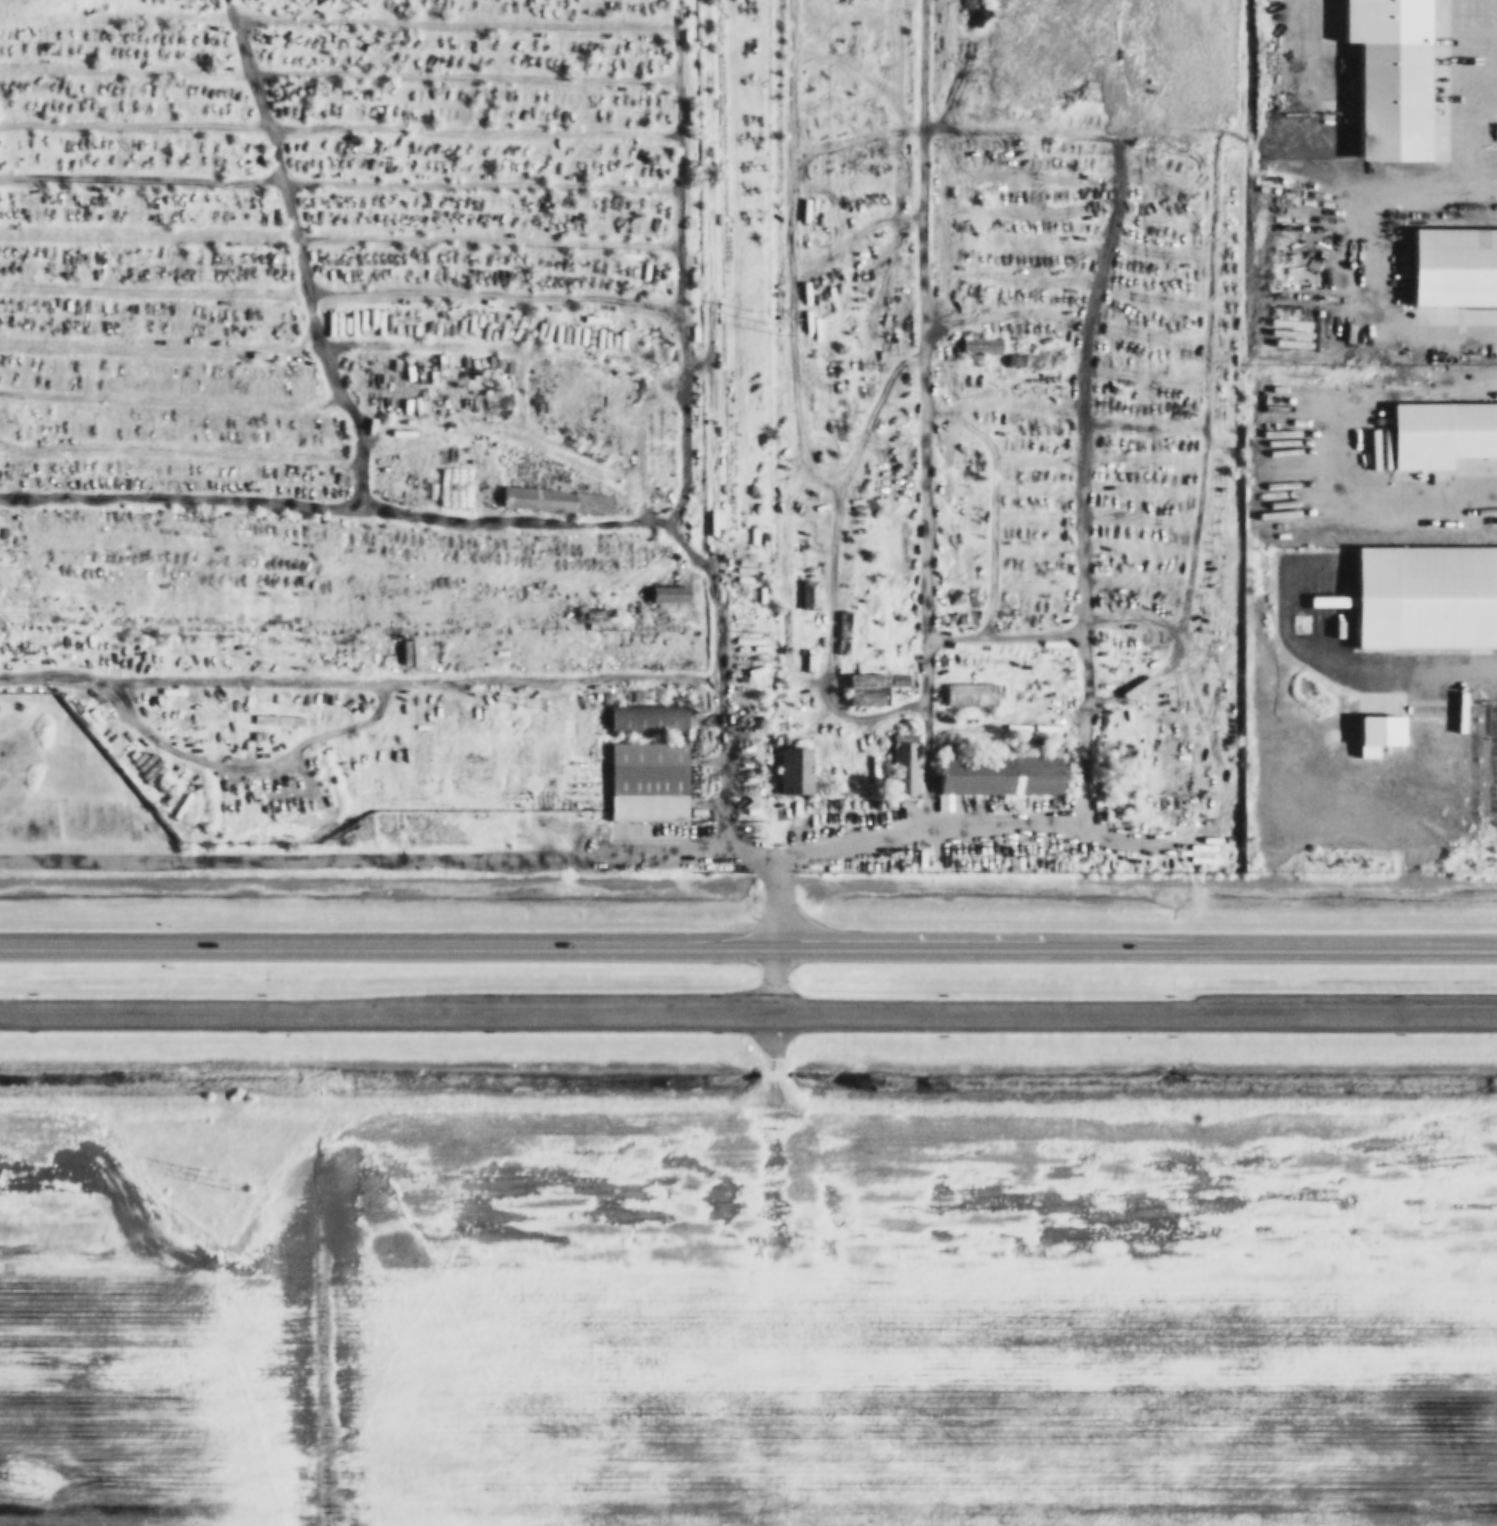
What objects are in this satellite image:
building: (972, 5)
building: (1399, 95)
building: (1454, 269)
power tower: (782, 323)
building: (980, 346)
building: (1447, 438)
building: (458, 488)
building: (562, 501)
building: (806, 596)
building: (1427, 598)
building: (846, 639)
building: (873, 691)
building: (972, 695)
power tower: (543, 708)
road: (725, 708)
building: (1004, 776)
building: (652, 782)
road: (945, 828)
road: (365, 859)
road: (779, 876)
road: (748, 947)
road: (774, 980)
road: (748, 1012)
road: (774, 1063)
power tower: (224, 1181)
crop: (761, 1333)
power tower: (19, 1480)

